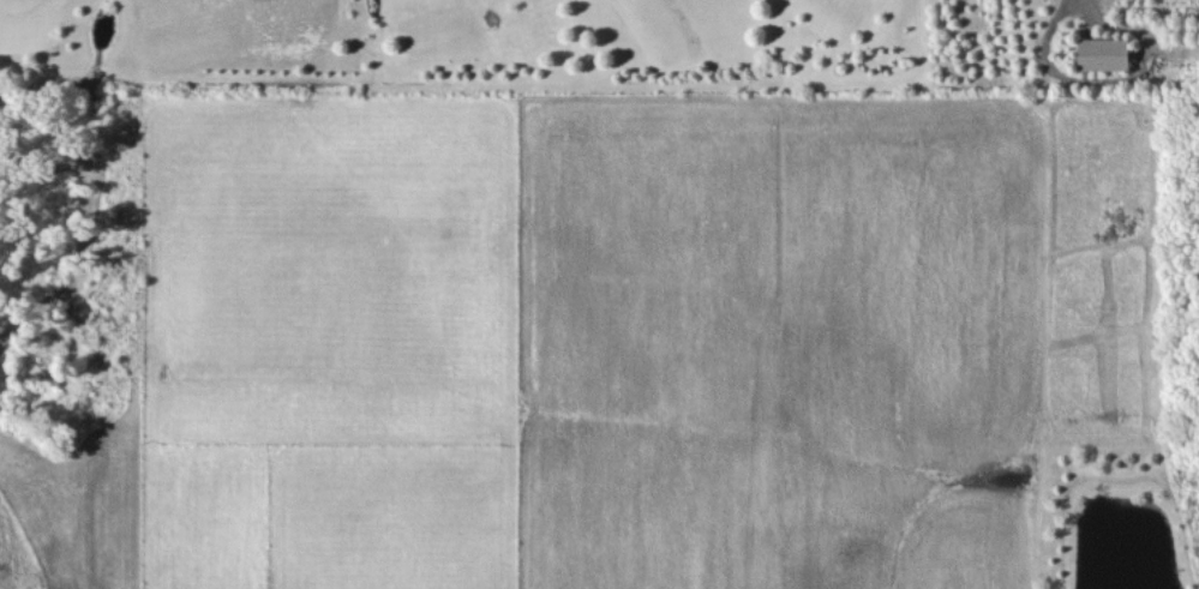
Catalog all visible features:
building: (1103, 53)

